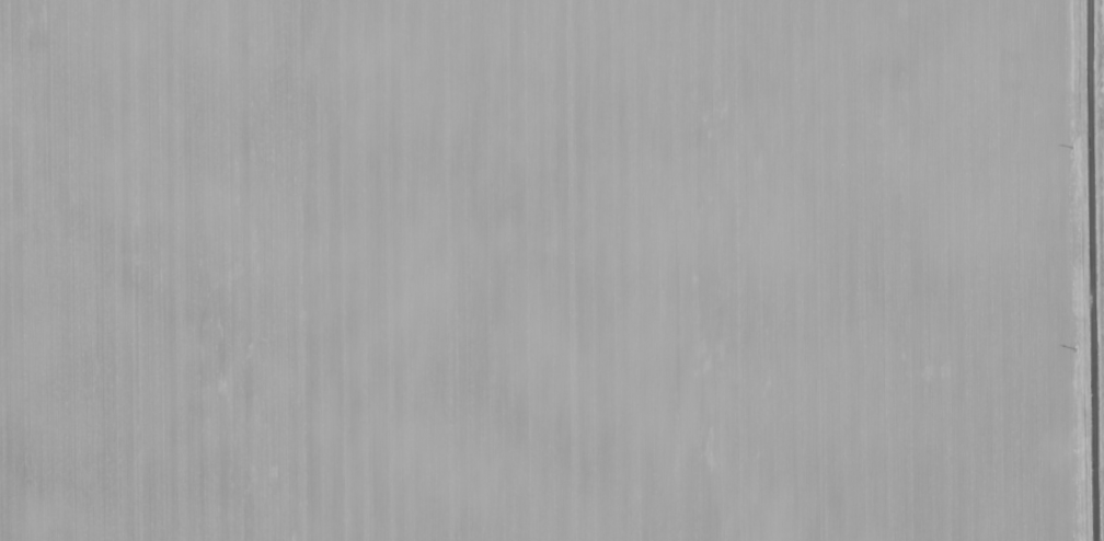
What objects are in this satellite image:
road: (1097, 270)

